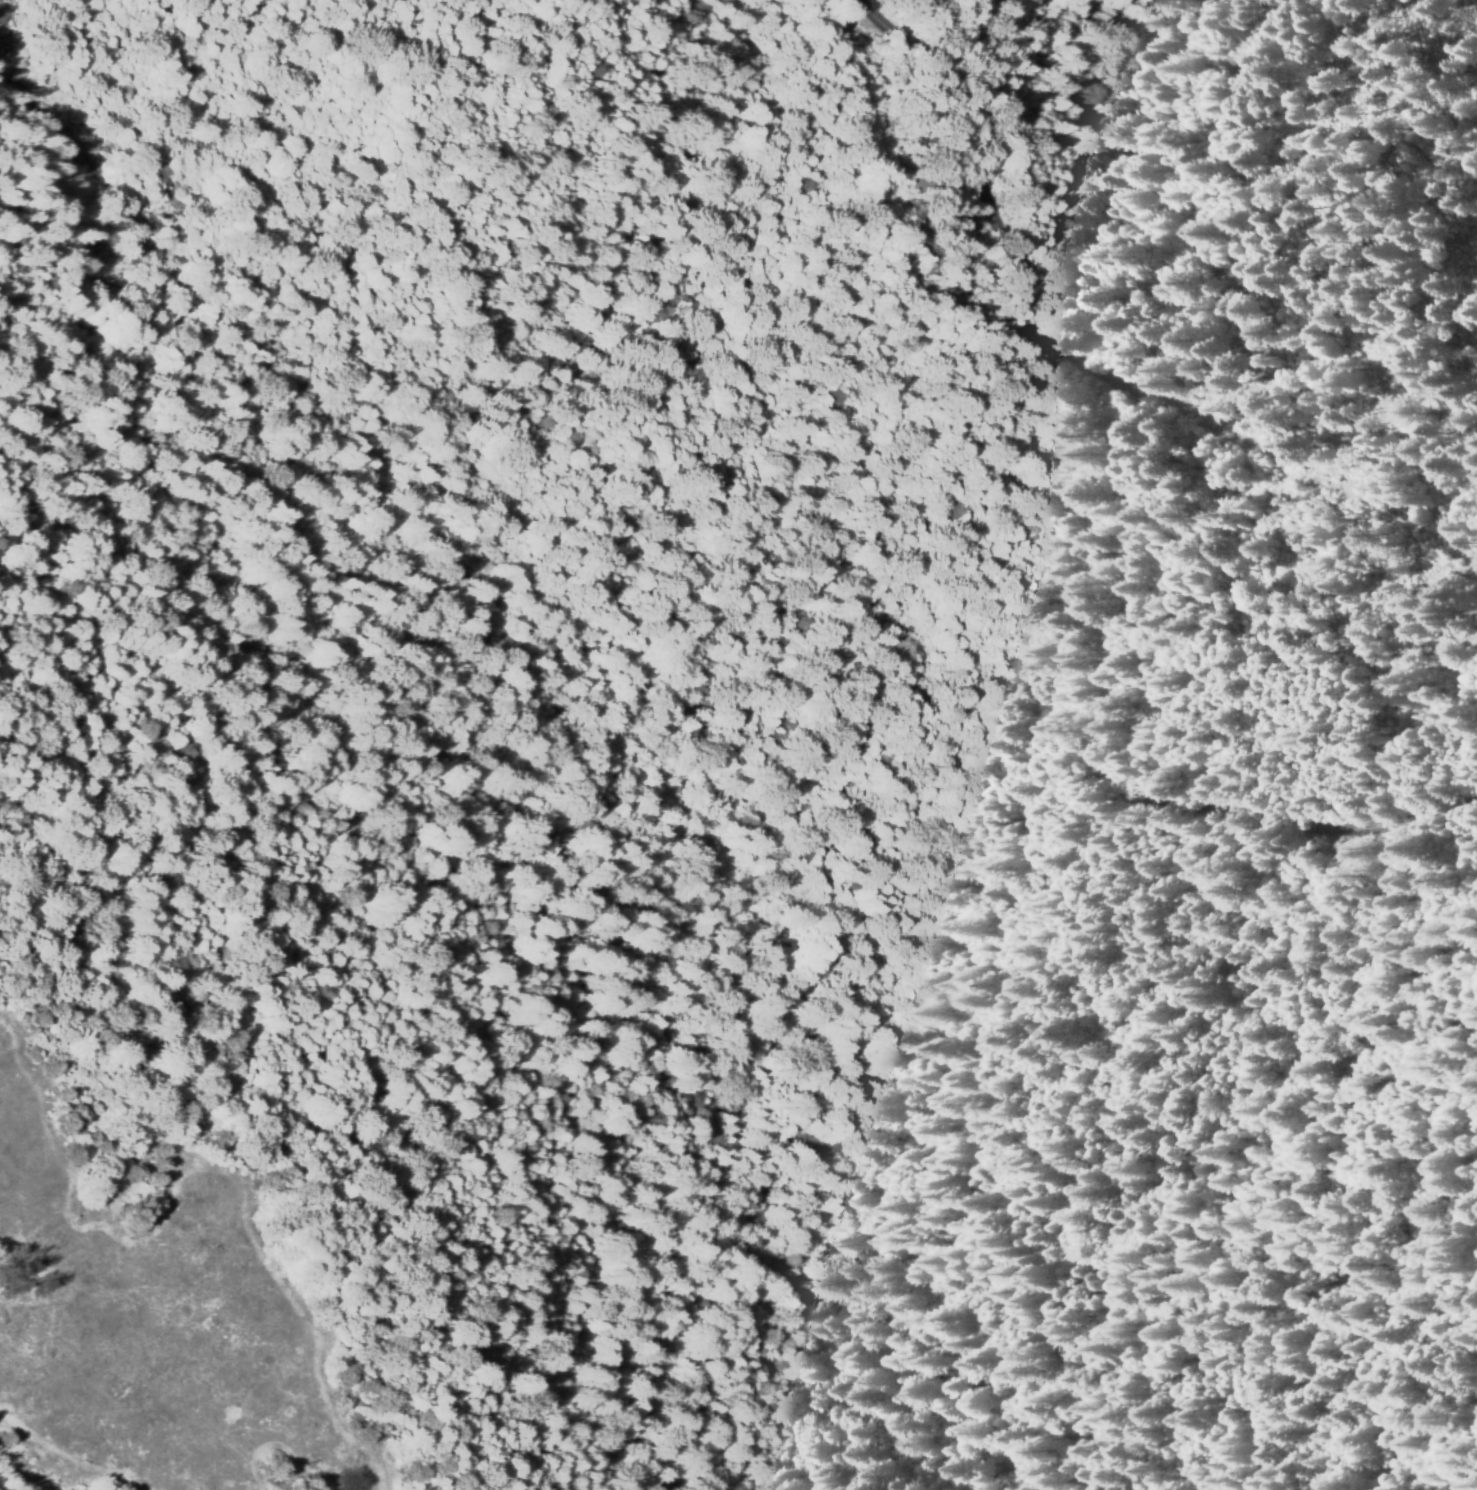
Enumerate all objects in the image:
road: (1112, 534)

